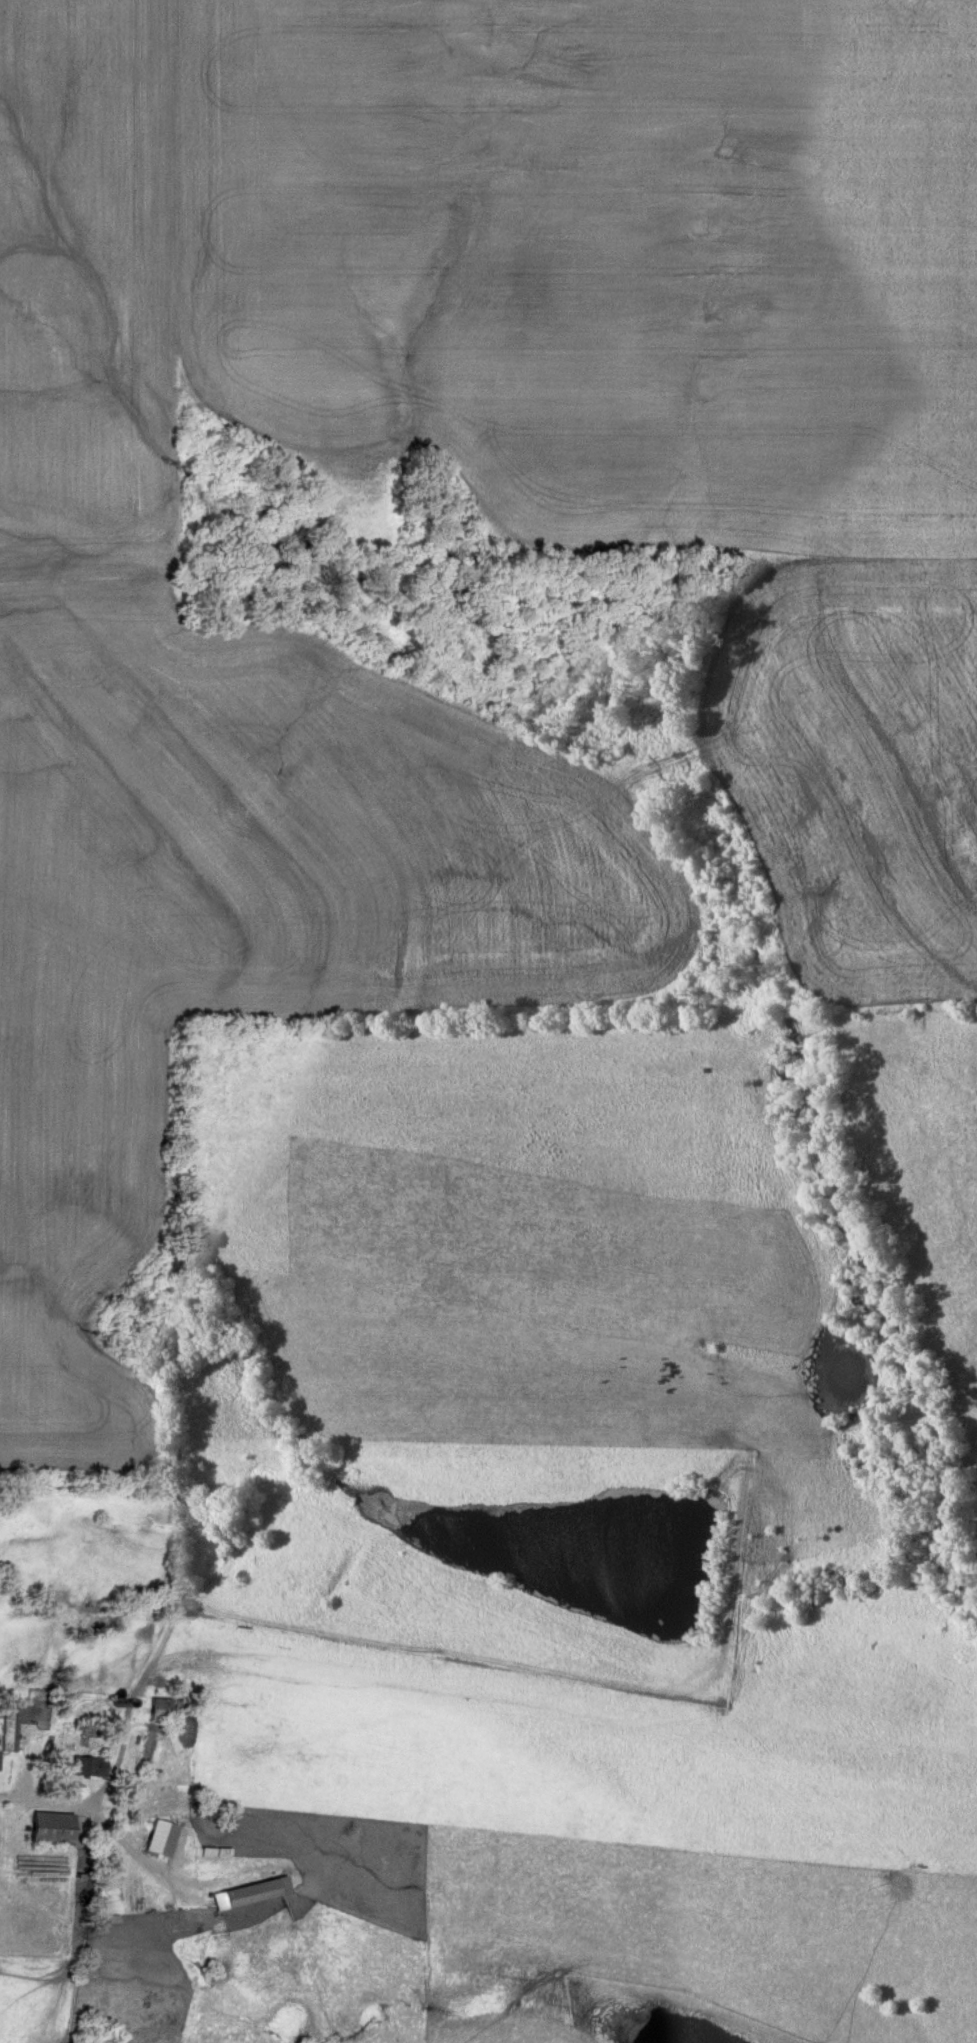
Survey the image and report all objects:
building: (160, 1709)
building: (12, 1723)
building: (90, 1766)
road: (93, 1780)
building: (52, 1828)

